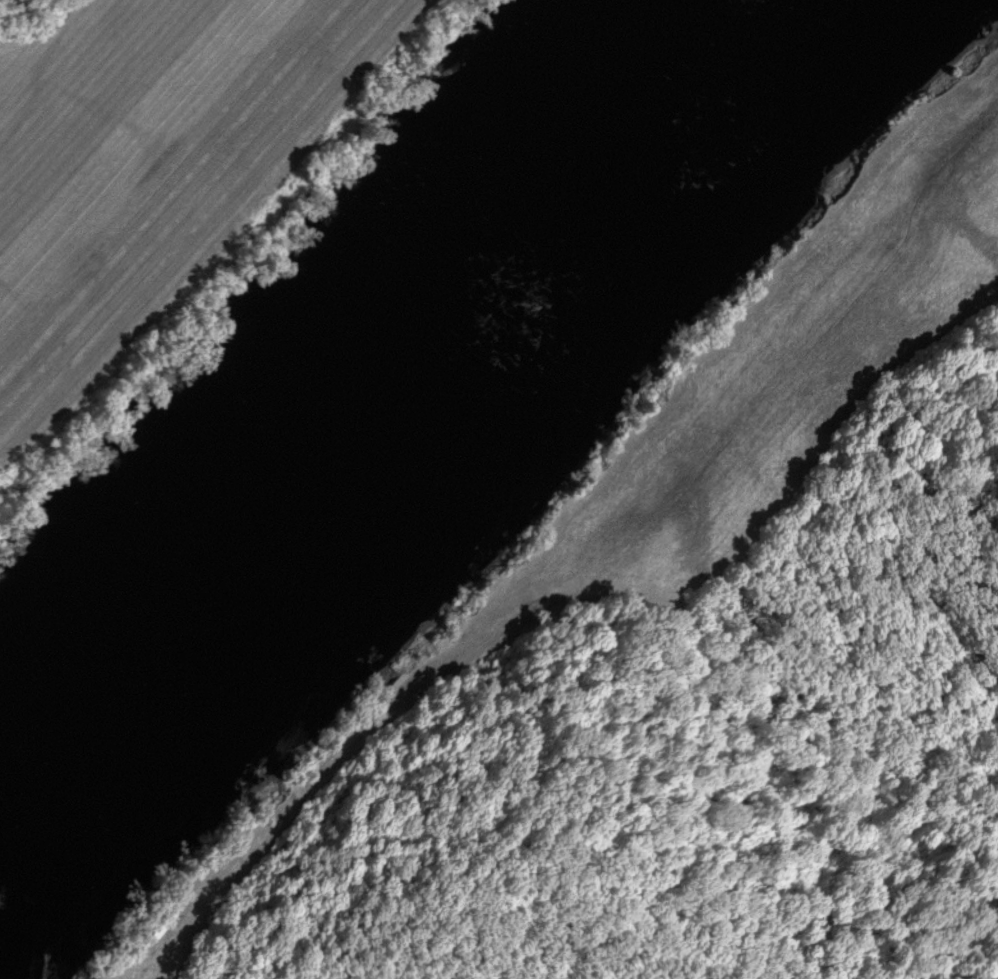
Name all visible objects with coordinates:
river: (431, 384)

